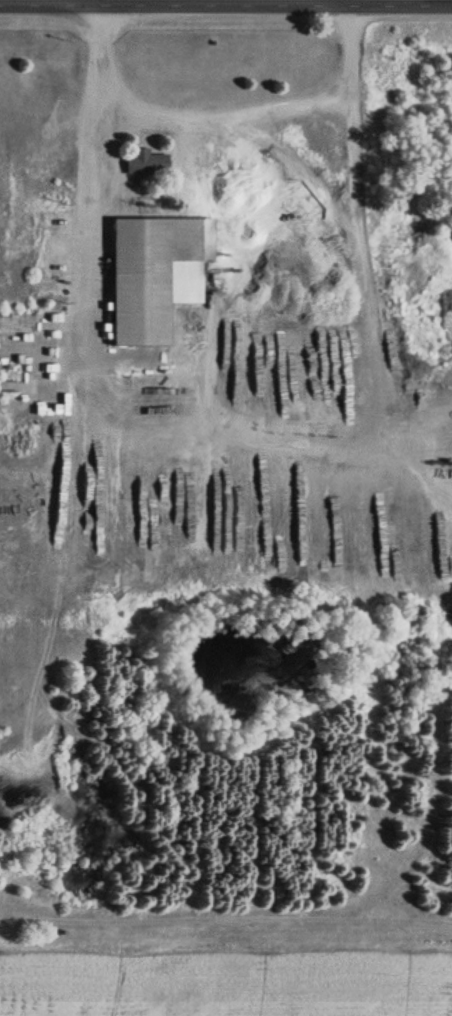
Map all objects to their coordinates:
road: (226, 6)
building: (142, 164)
building: (150, 276)
building: (25, 475)

